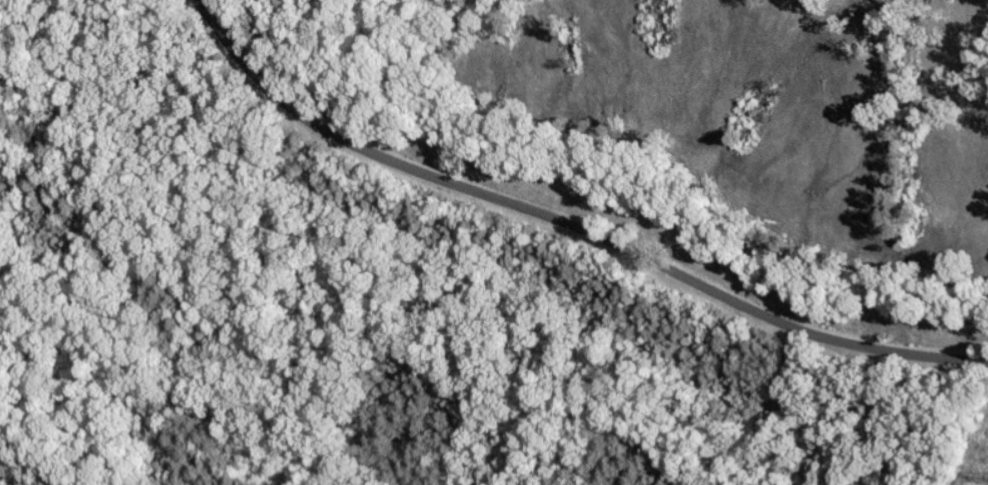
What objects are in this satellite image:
road: (566, 227)

